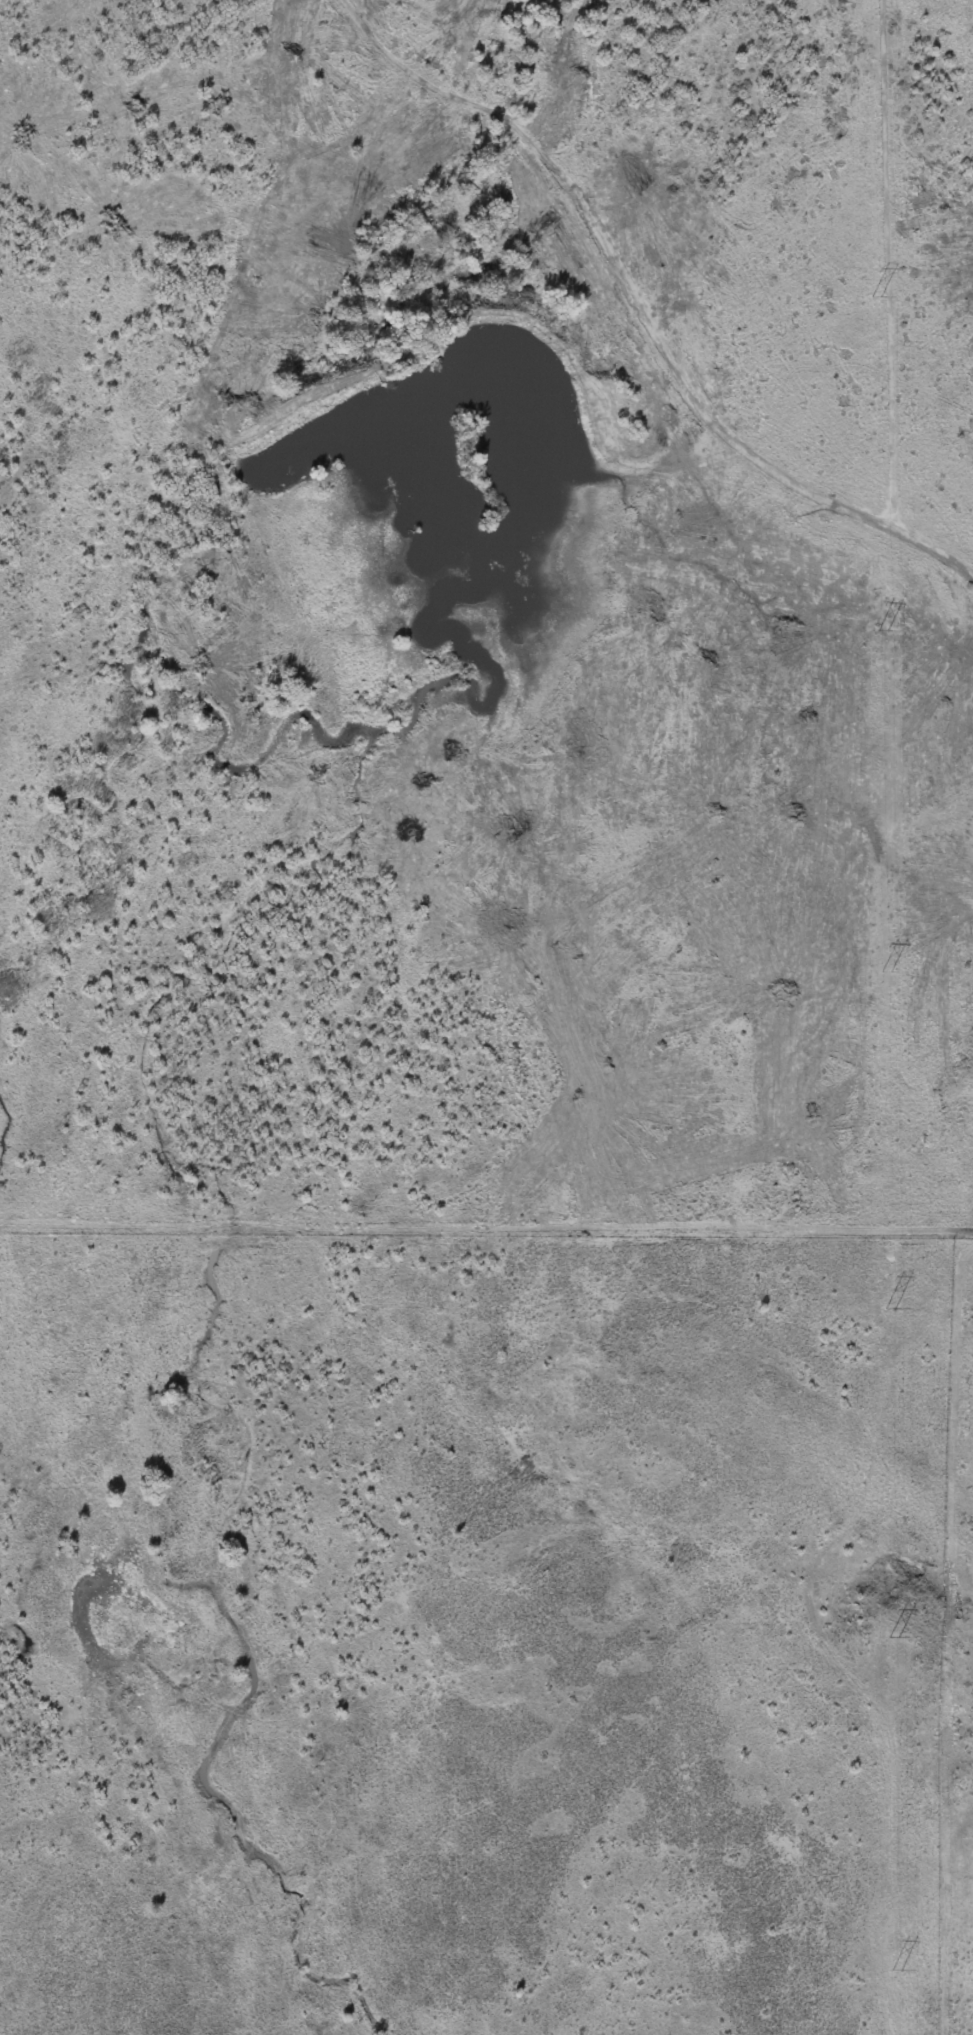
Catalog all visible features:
road: (650, 342)

